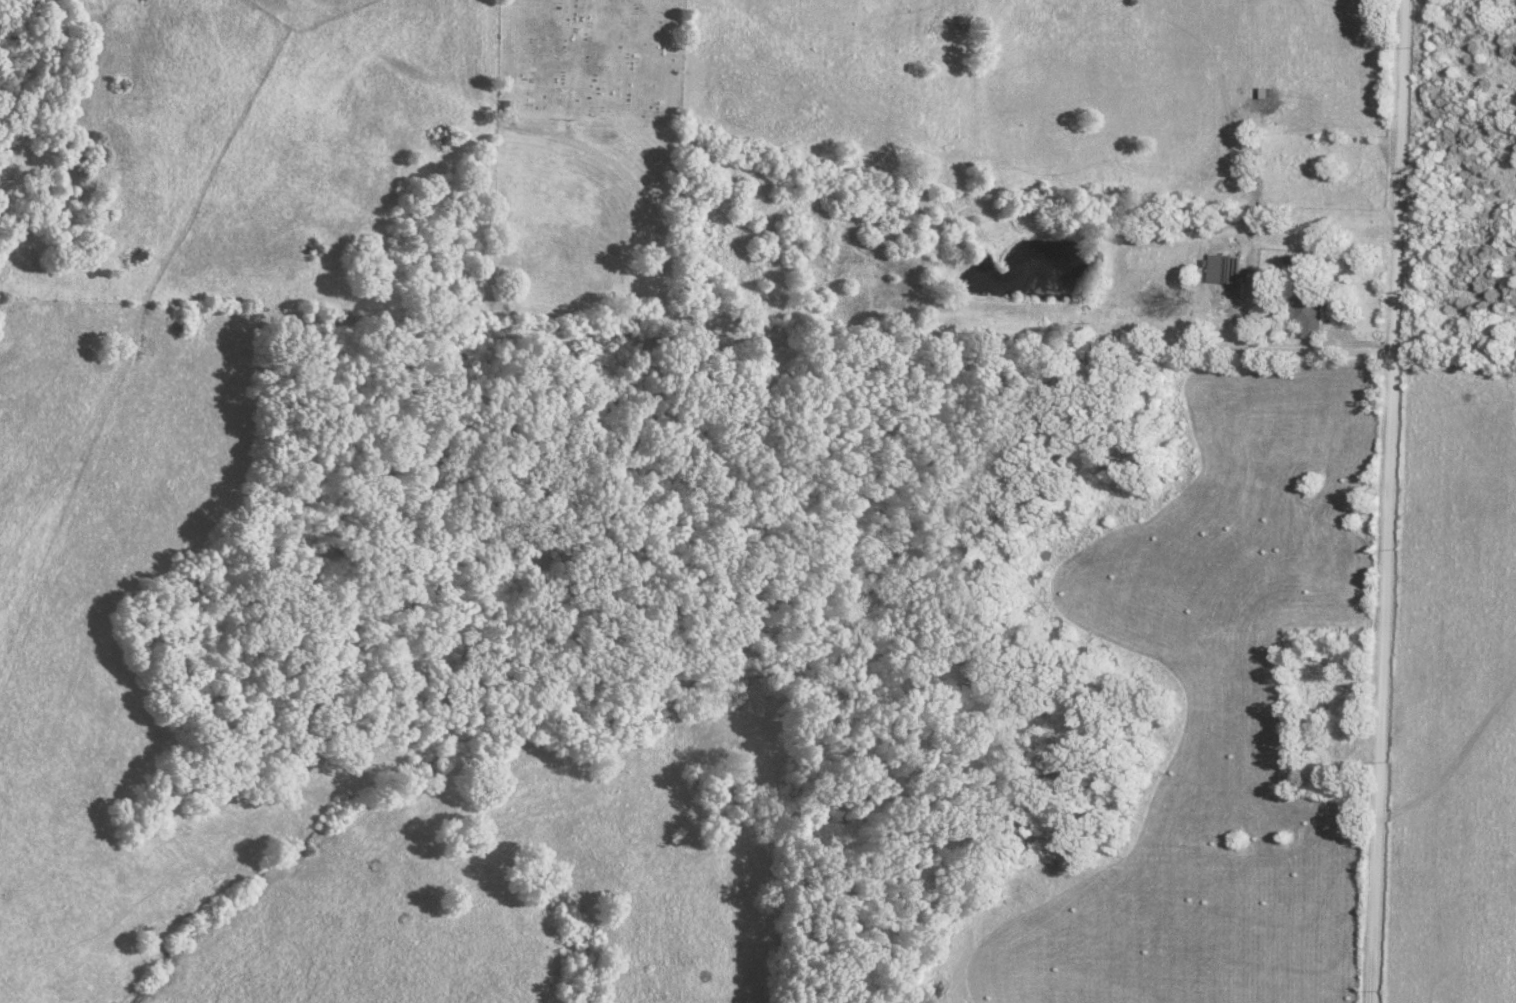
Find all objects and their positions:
building: (1228, 267)
building: (1314, 309)
road: (899, 323)
road: (1386, 501)

